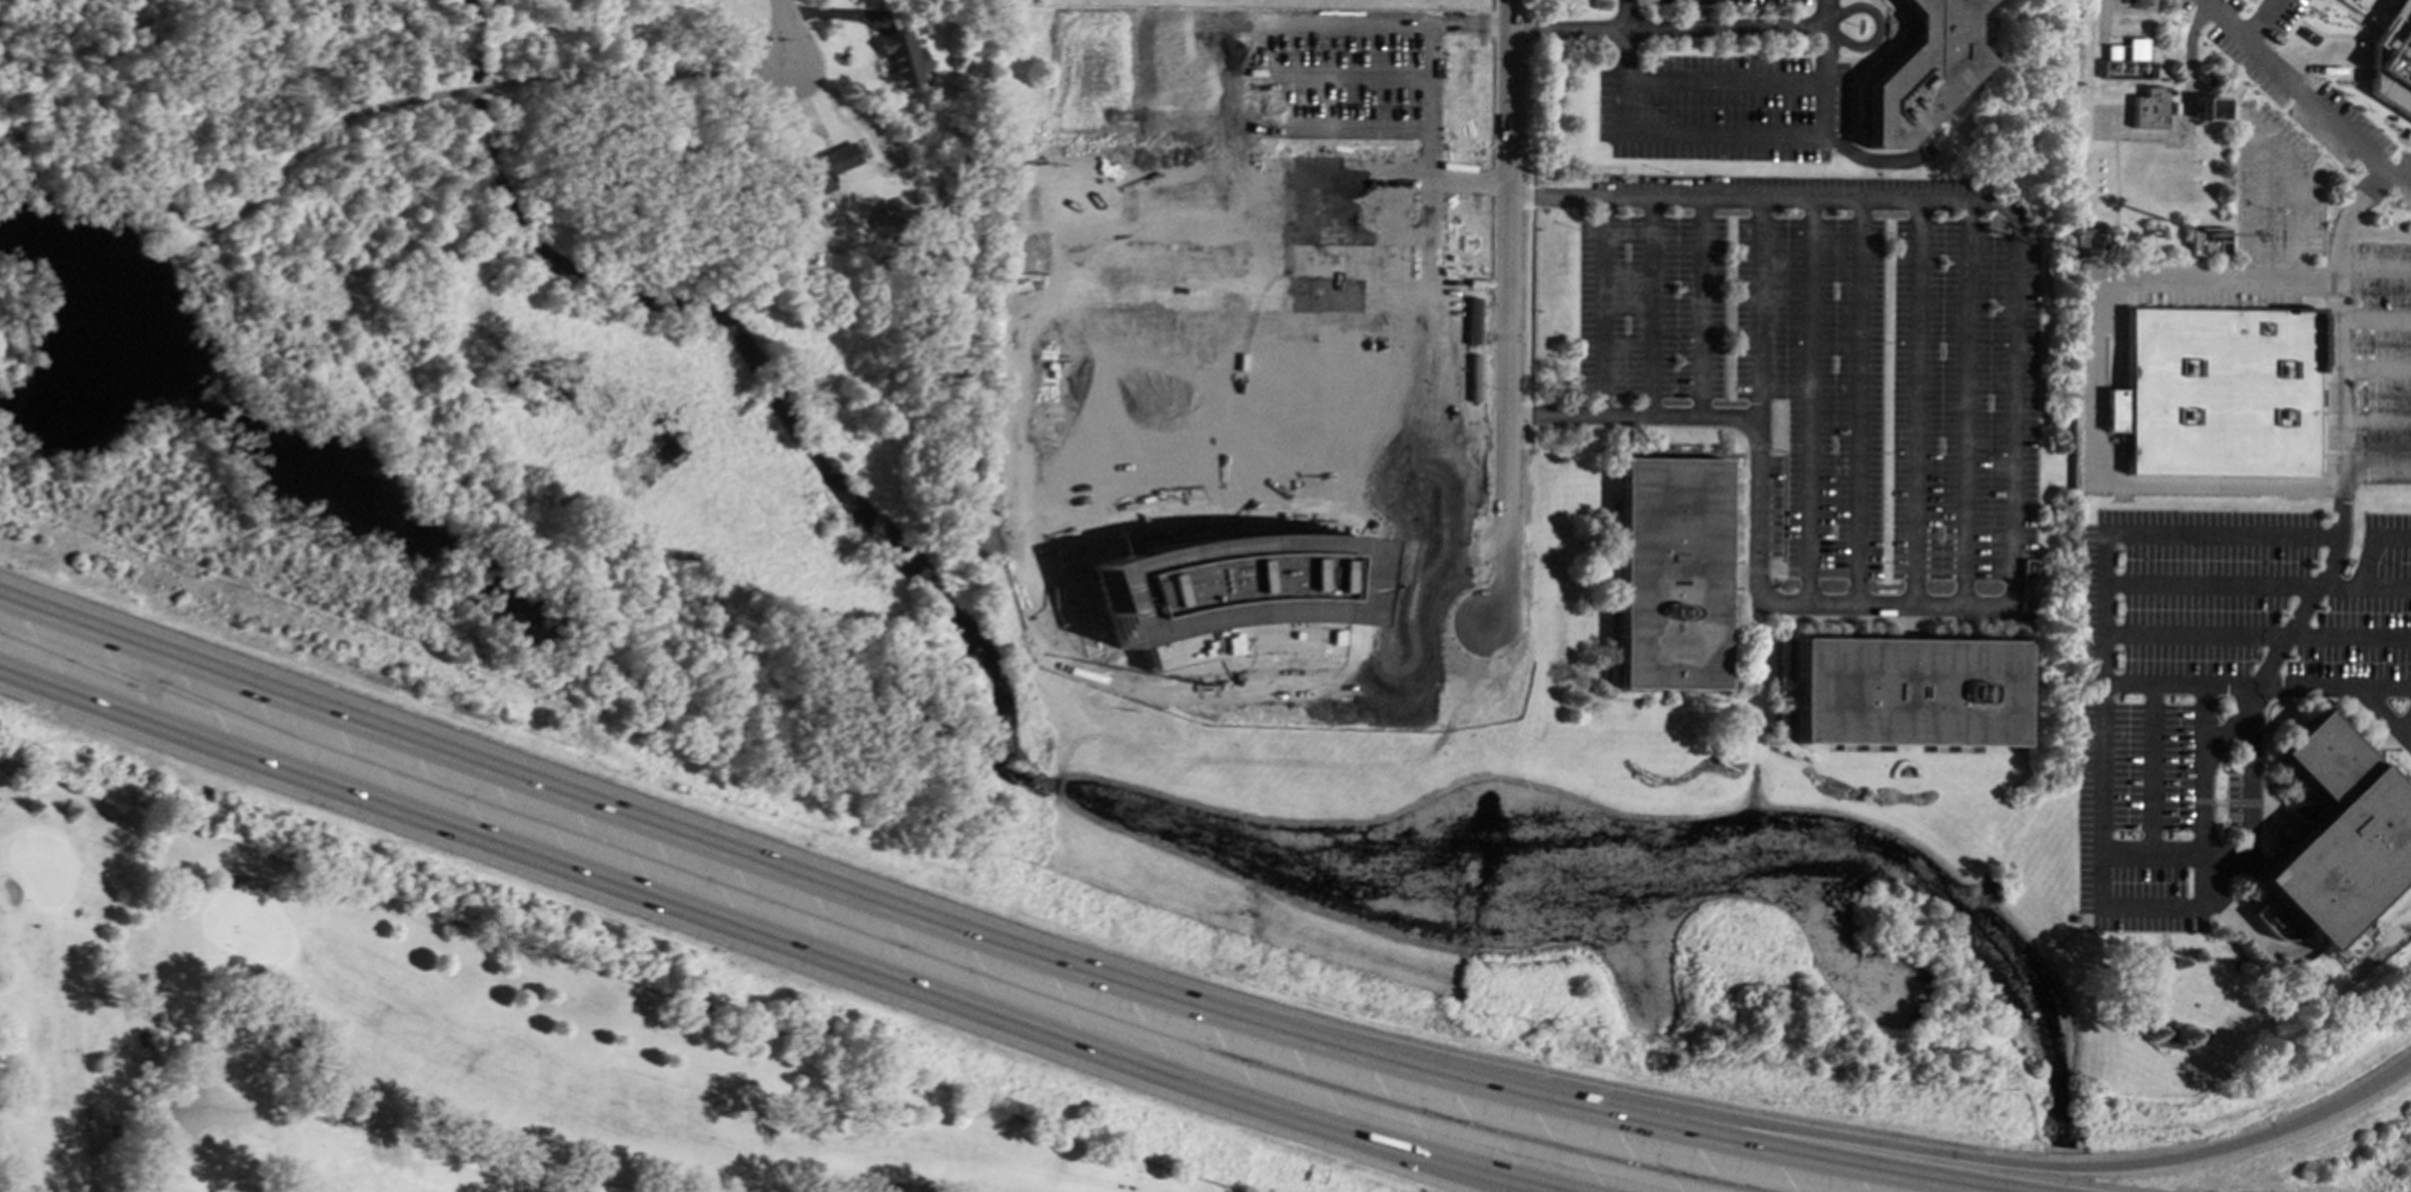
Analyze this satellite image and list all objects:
road: (1618, 13)
road: (2264, 23)
road: (1565, 27)
road: (1717, 27)
road: (785, 32)
building: (2393, 59)
building: (903, 60)
building: (2125, 60)
building: (1921, 72)
road: (639, 79)
road: (1719, 79)
road: (2293, 86)
road: (477, 88)
parking lot: (2302, 90)
building: (2149, 107)
building: (2211, 109)
road: (1735, 136)
road: (2266, 147)
building: (816, 173)
road: (2398, 177)
road: (238, 215)
road: (1442, 215)
building: (2208, 240)
building: (2090, 244)
road: (1231, 271)
road: (1599, 307)
road: (1648, 308)
road: (1699, 308)
road: (1755, 309)
road: (1511, 312)
road: (2374, 319)
road: (1442, 320)
park: (489, 361)
parking lot: (2385, 363)
road: (1229, 379)
road: (2094, 381)
building: (2219, 391)
road: (1805, 400)
road: (1855, 401)
road: (1915, 401)
road: (1965, 403)
road: (1016, 422)
road: (1260, 422)
building: (1231, 436)
road: (1497, 444)
road: (2018, 503)
building: (1667, 573)
building: (1274, 589)
road: (2299, 613)
road: (2098, 640)
road: (2176, 684)
road: (151, 689)
building: (1904, 692)
road: (2404, 735)
road: (691, 844)
building: (2339, 859)
road: (643, 893)
park: (460, 1037)
road: (1664, 1147)
road: (1907, 1149)
road: (90, 1150)
road: (1386, 1155)
road: (1421, 1156)

